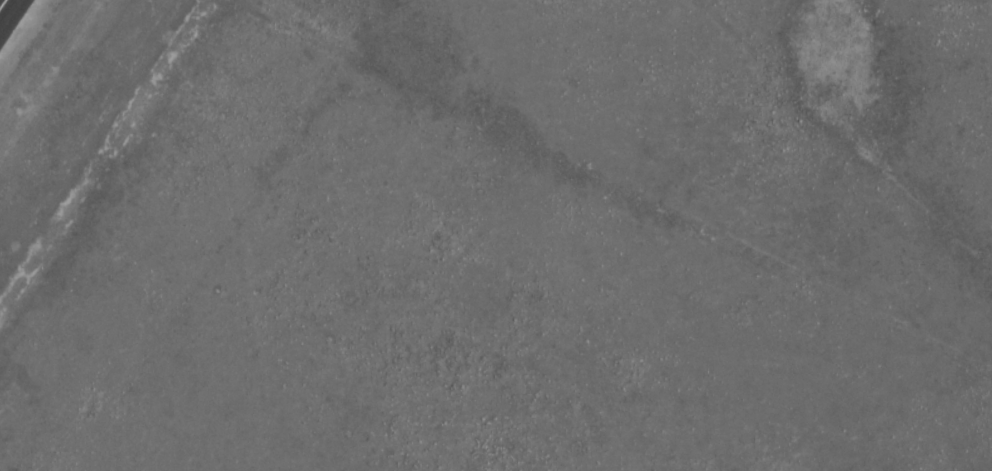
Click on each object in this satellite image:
airport runway: (1, 2)
airport: (496, 235)

